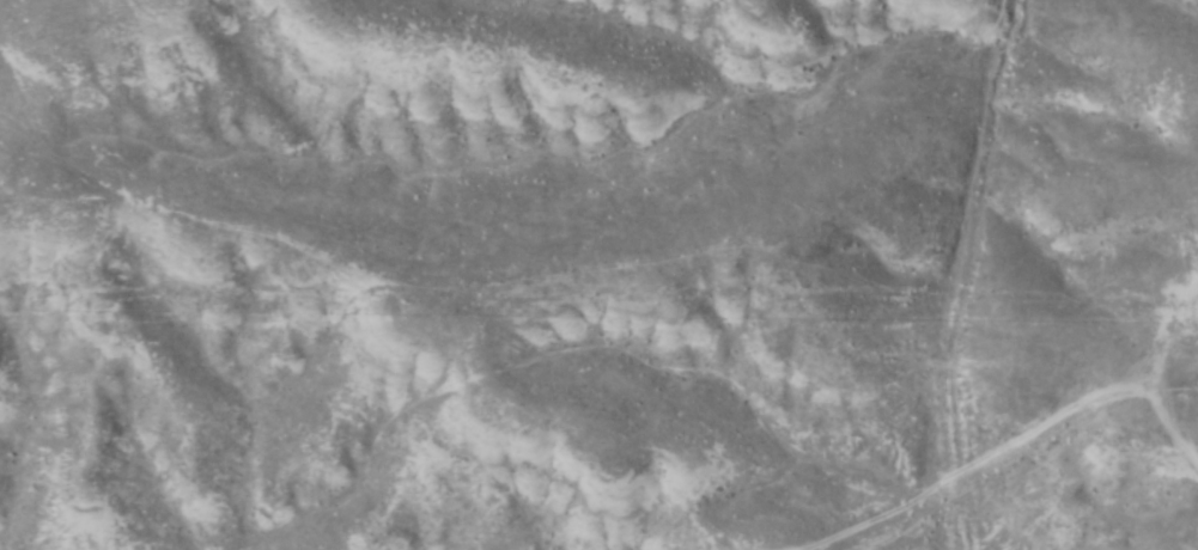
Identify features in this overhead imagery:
crop: (598, 275)

